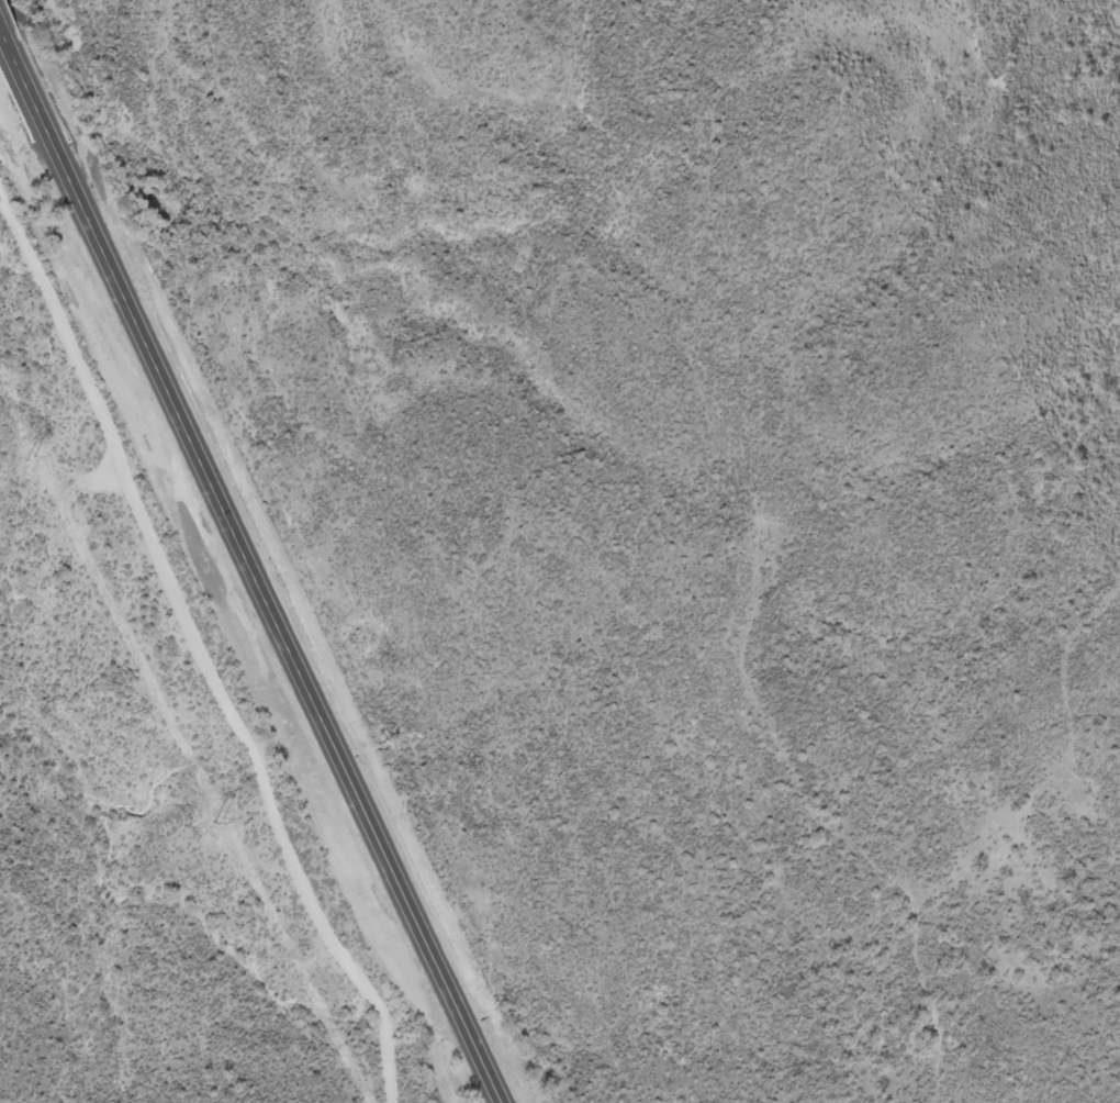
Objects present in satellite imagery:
power tower: (26, 461)
road: (255, 572)
power tower: (217, 823)

